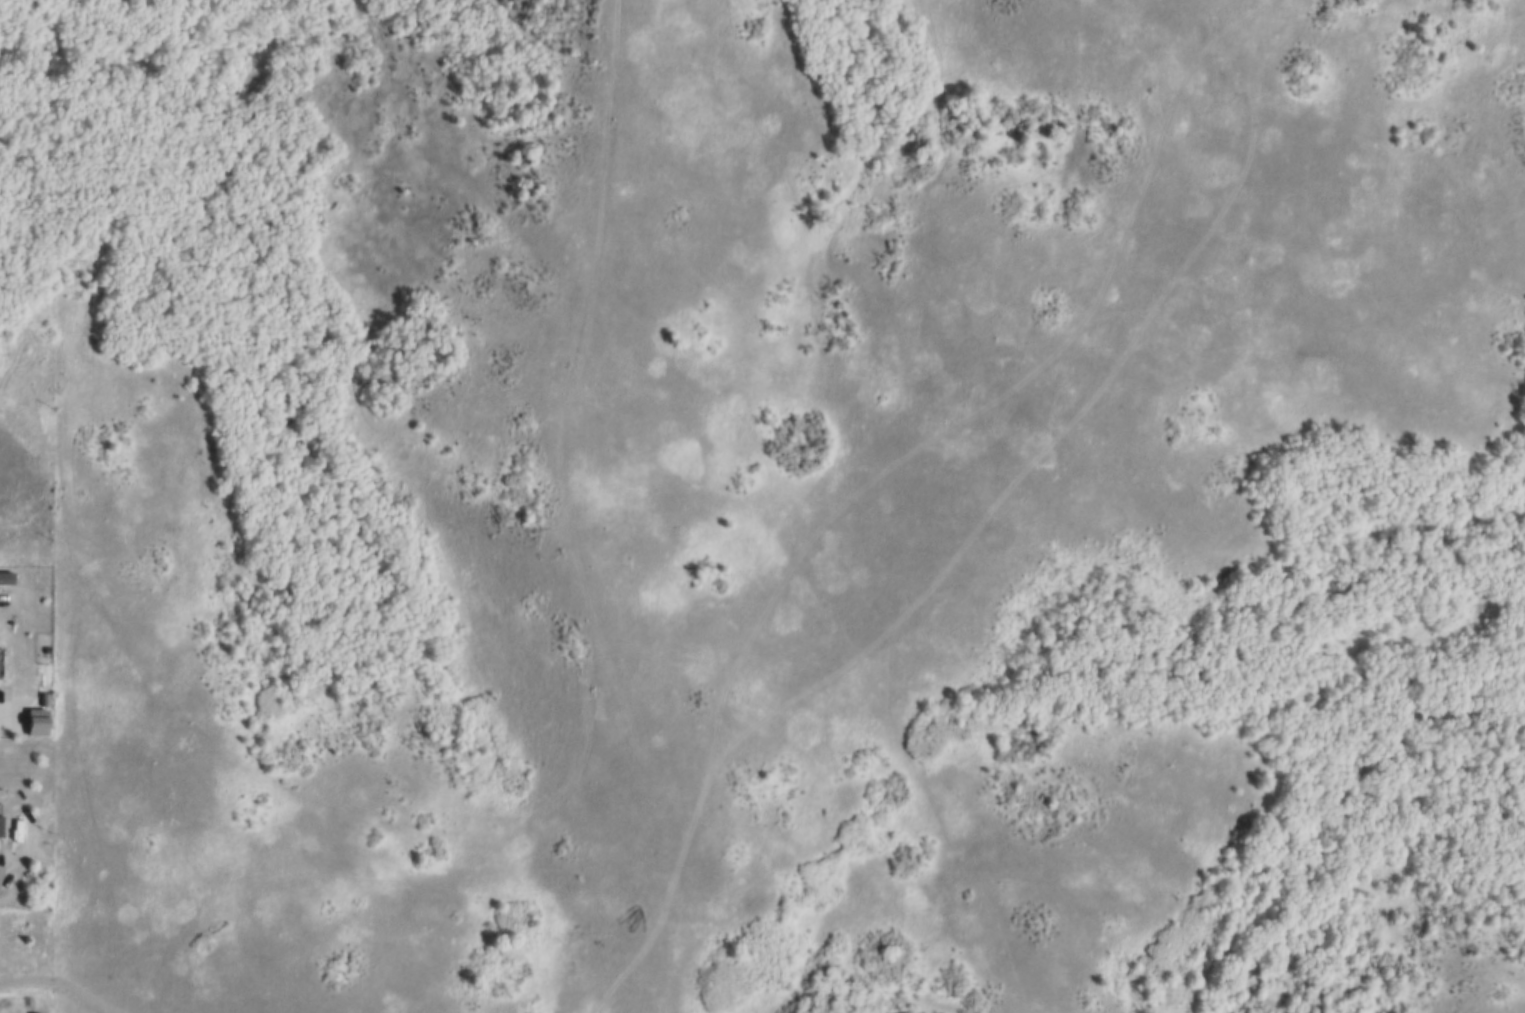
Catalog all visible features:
building: (42, 677)
building: (42, 696)
road: (55, 987)
building: (34, 1011)

